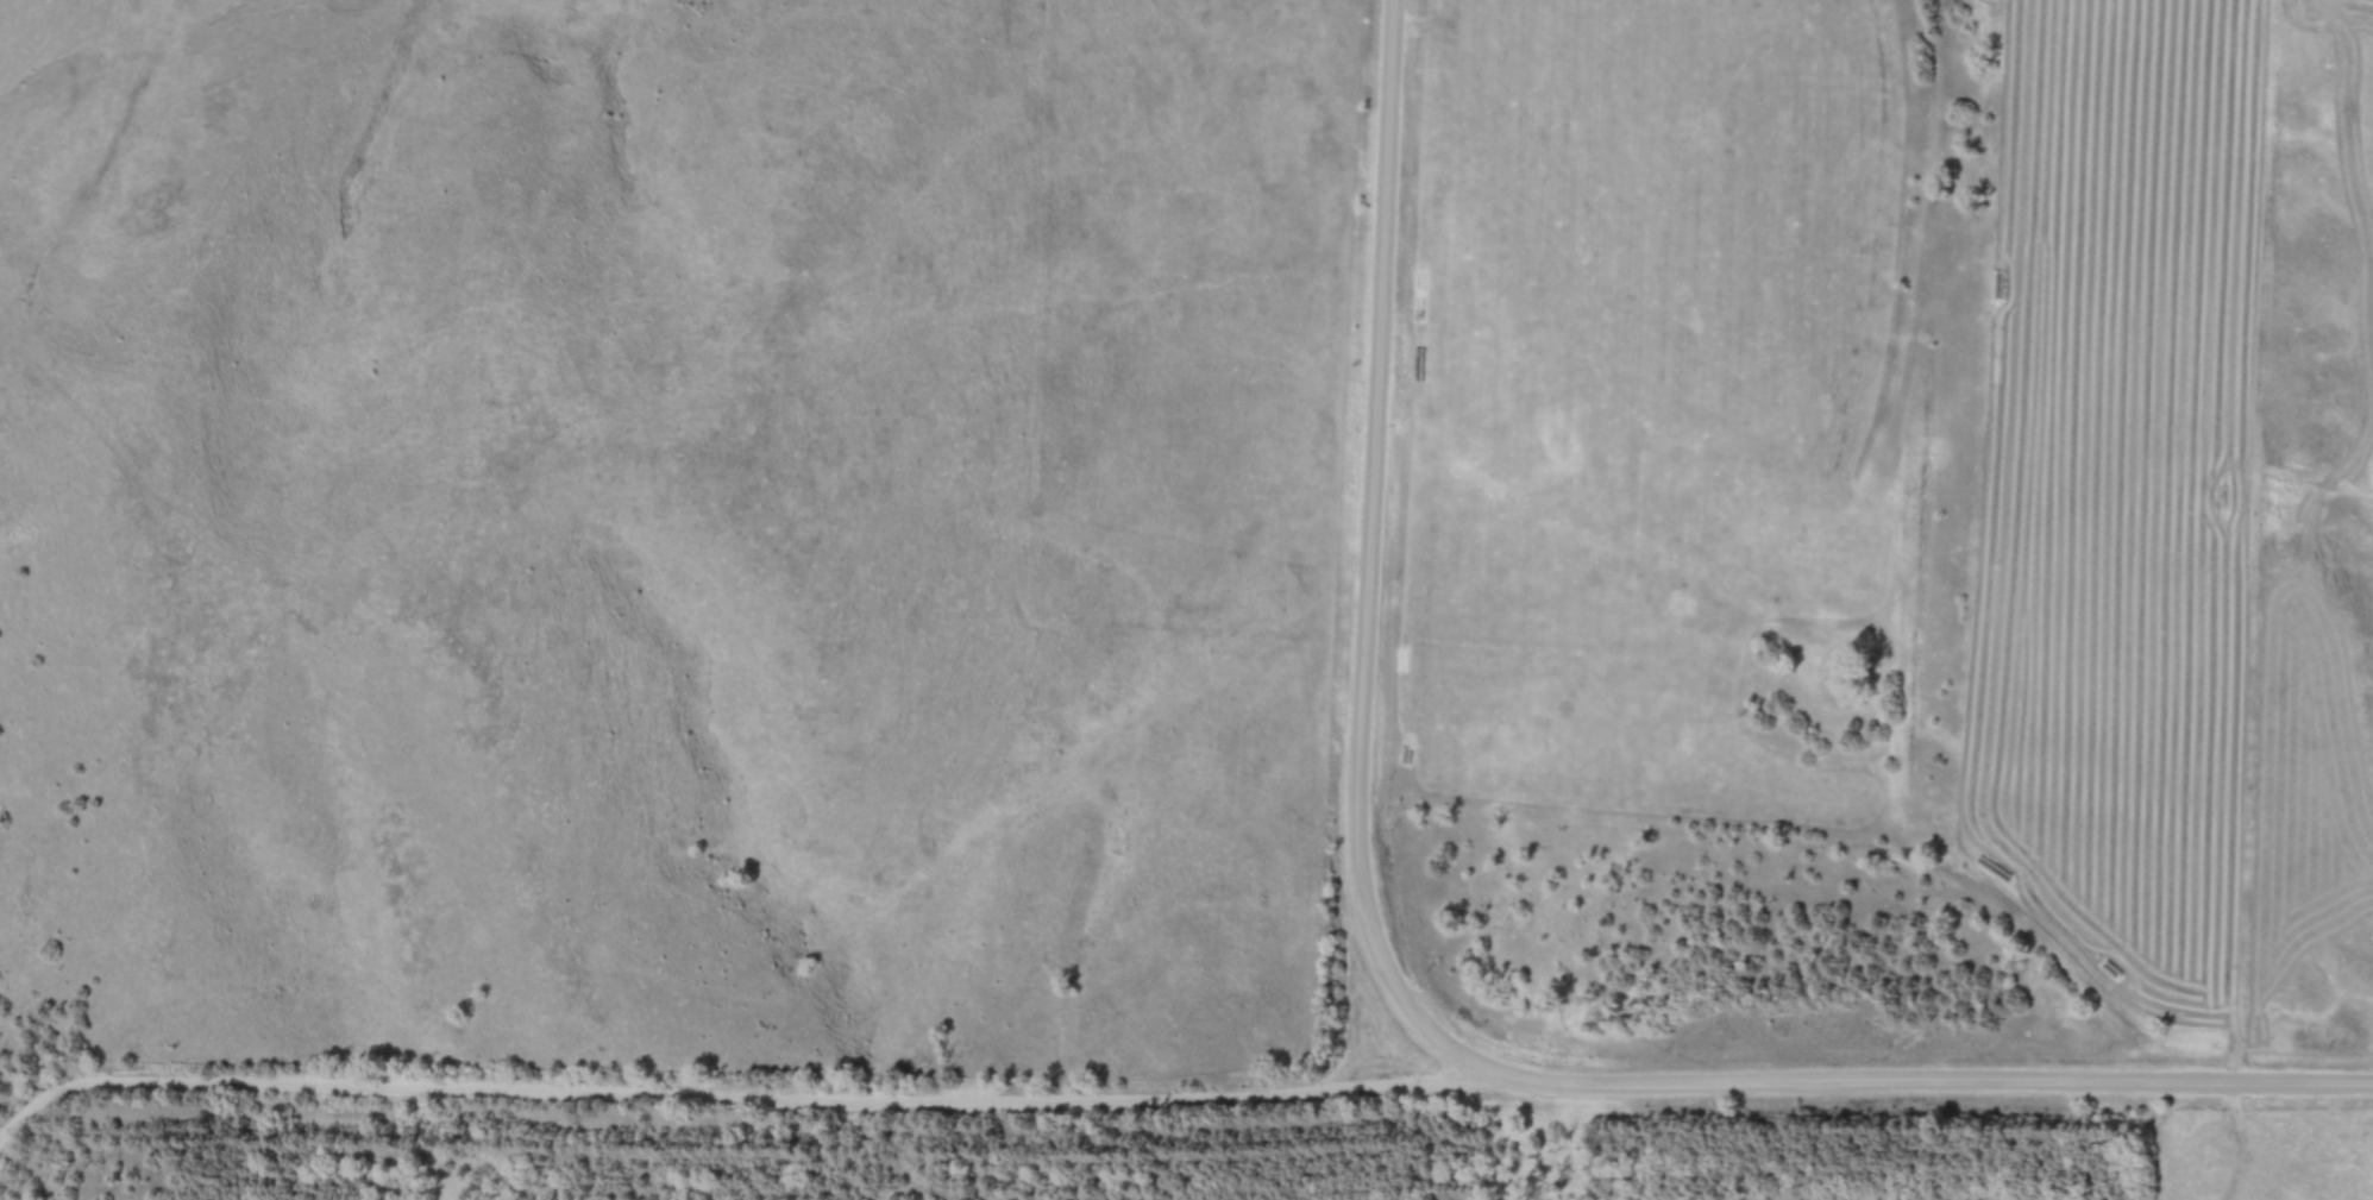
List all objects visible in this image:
road: (1373, 509)
road: (1878, 1079)
road: (758, 1098)
road: (33, 1102)

